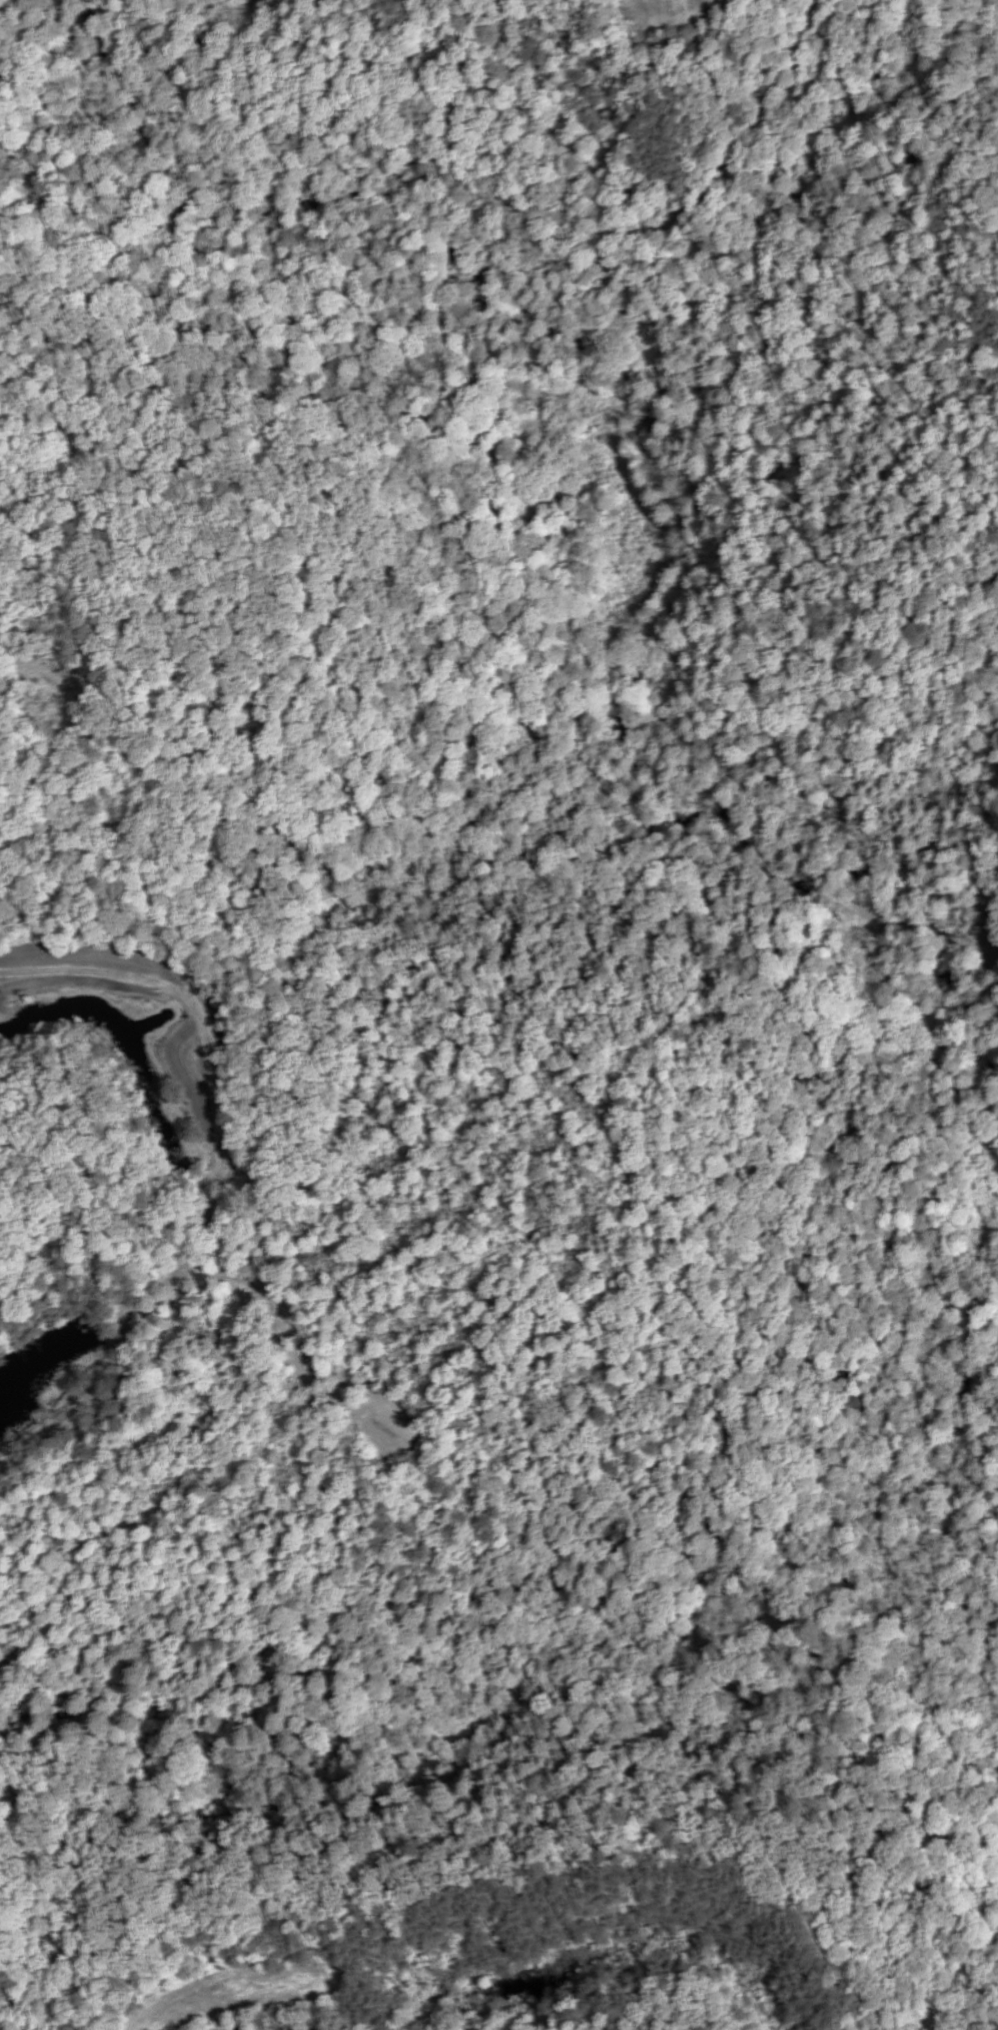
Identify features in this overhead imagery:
road: (22, 665)
road: (213, 1042)
road: (164, 1285)

